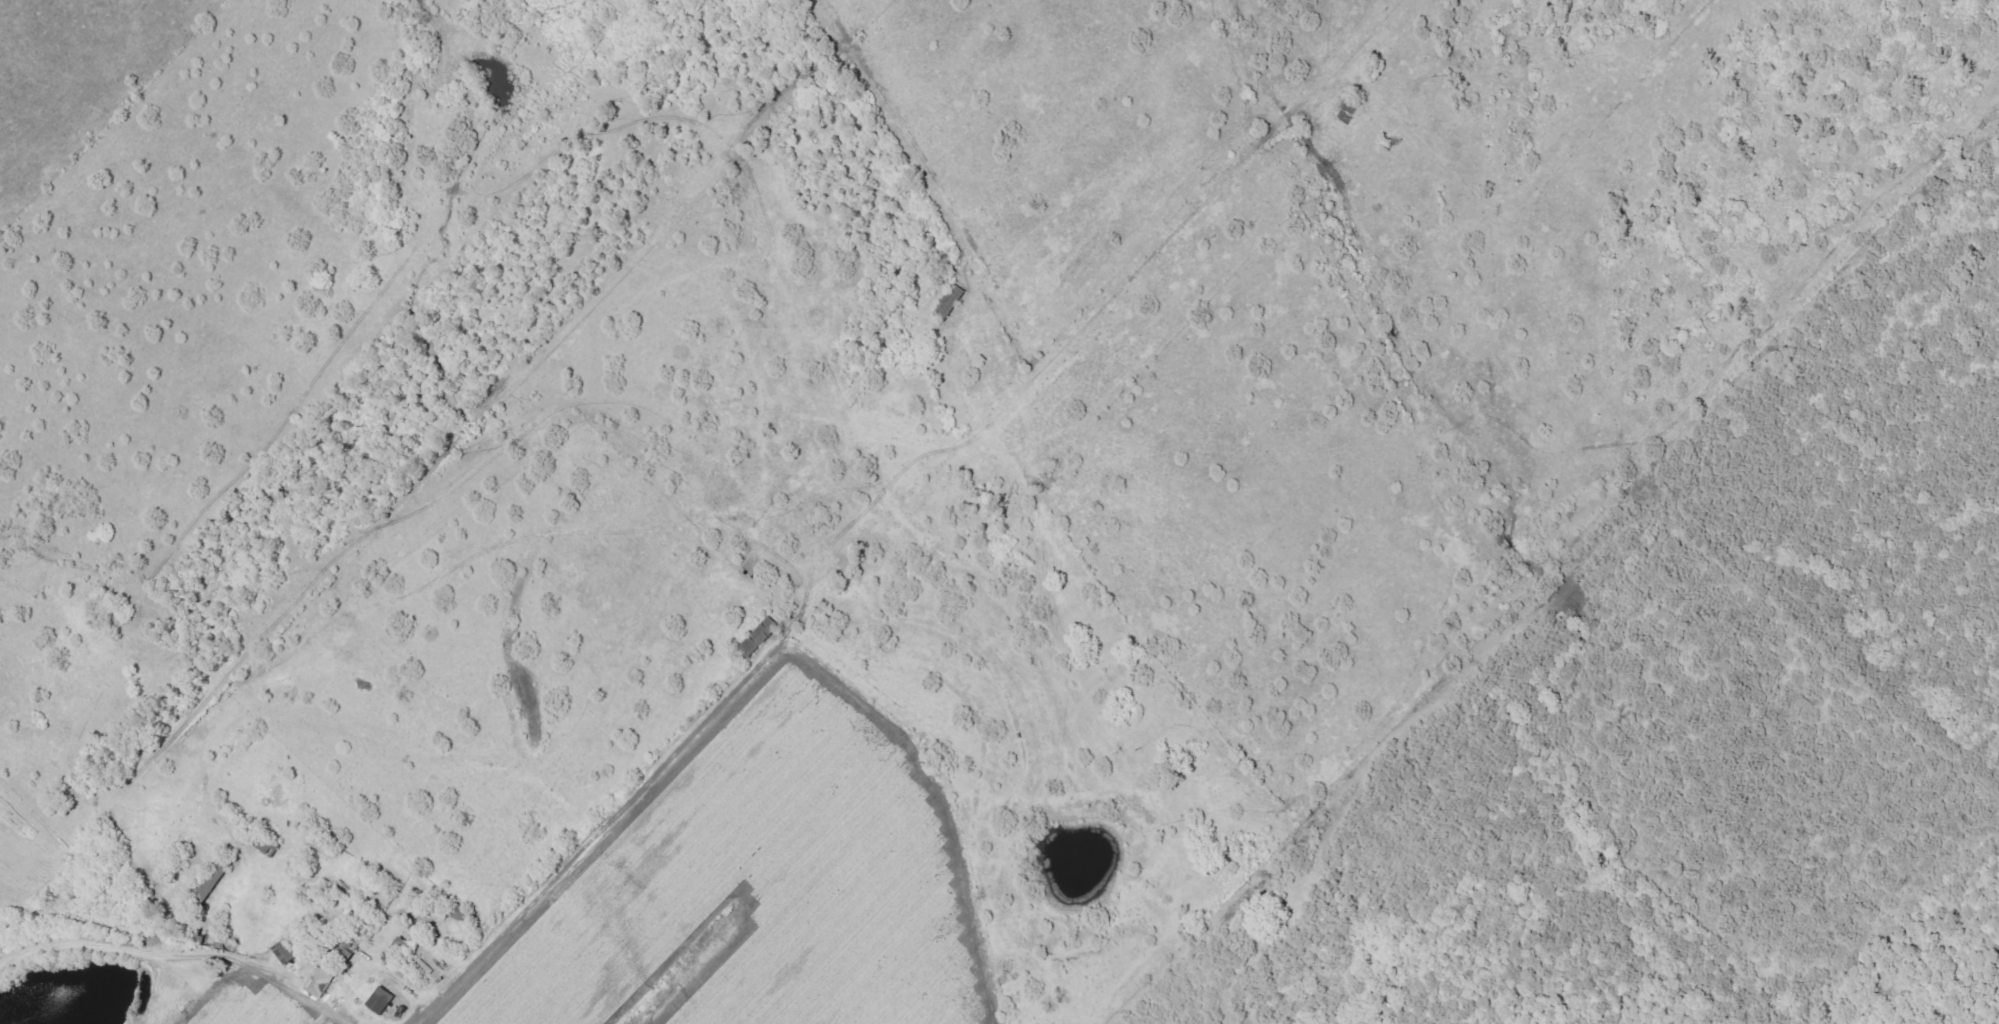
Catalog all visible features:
building: (760, 638)
road: (609, 843)
building: (286, 953)
road: (179, 962)
building: (320, 984)
building: (382, 1001)

